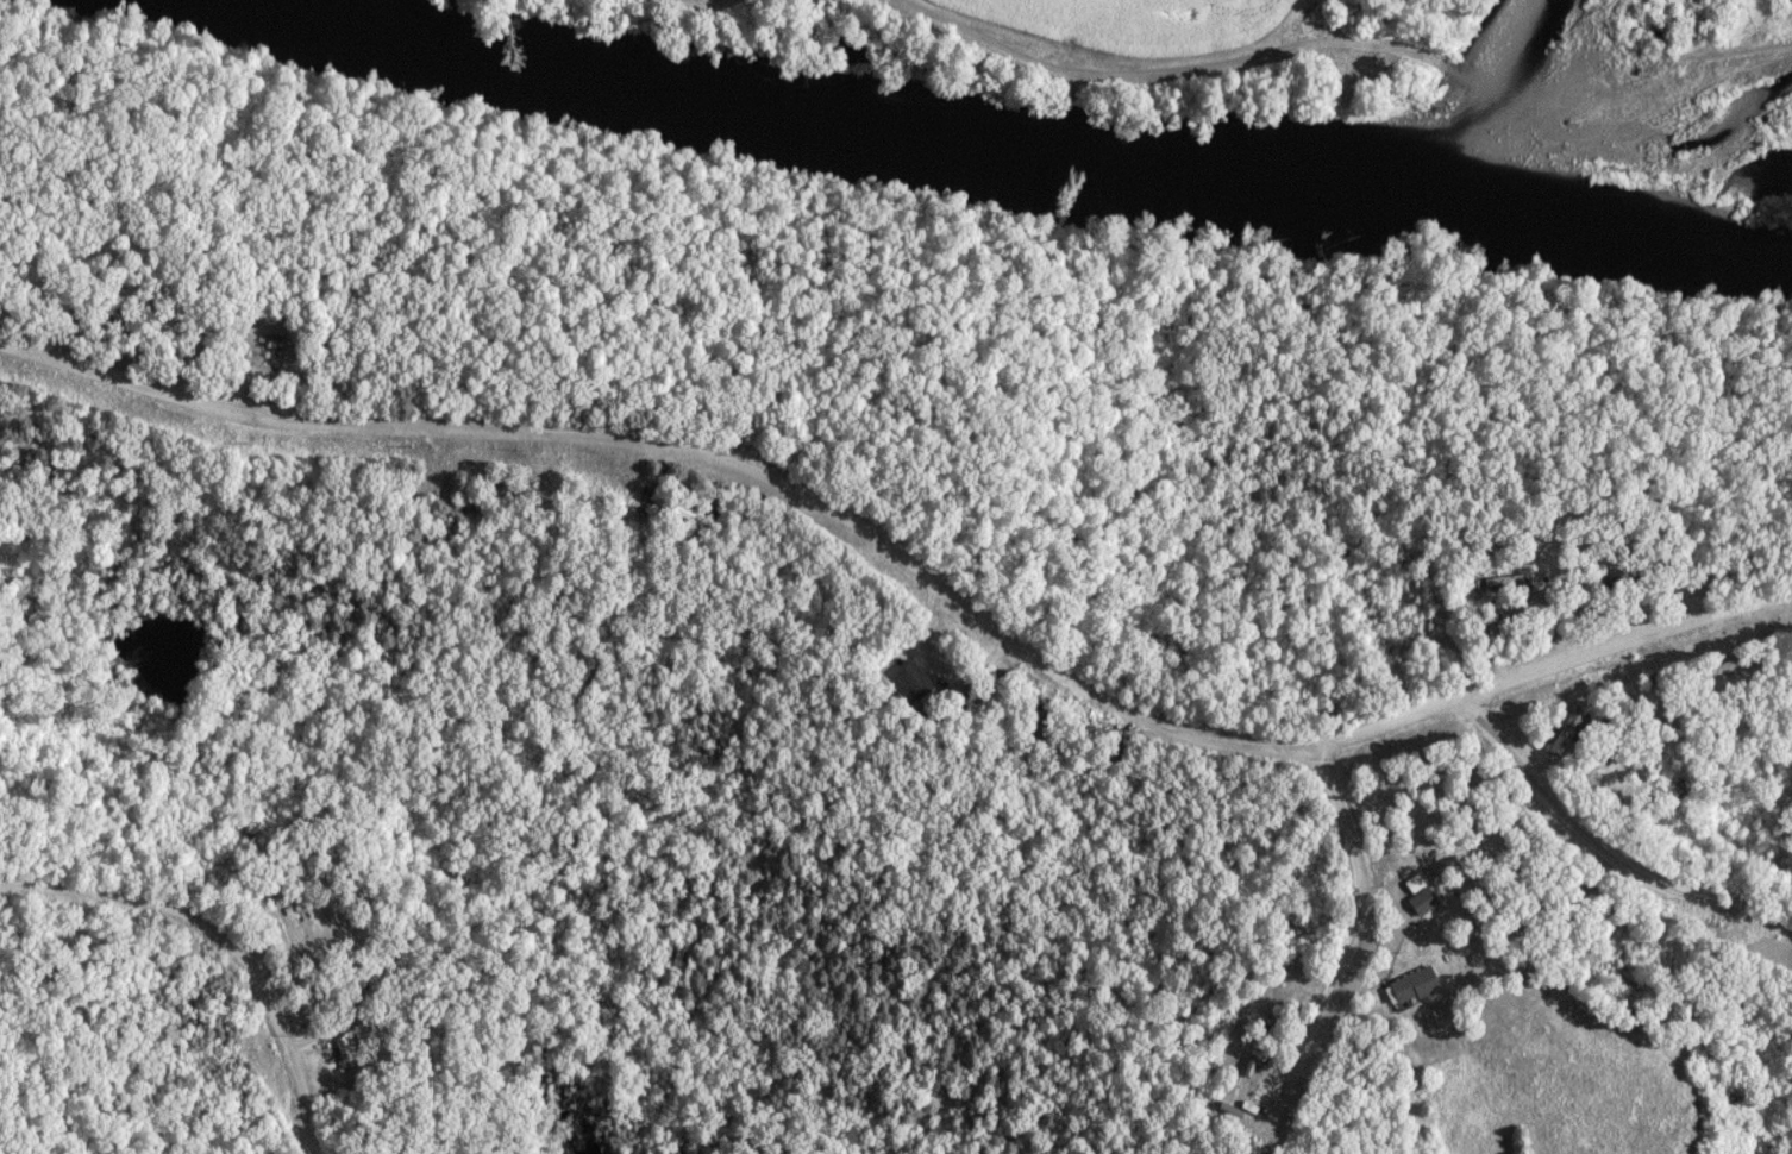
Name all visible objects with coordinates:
road: (1163, 75)
river: (1035, 151)
building: (267, 355)
building: (507, 490)
road: (913, 565)
building: (1722, 670)
building: (916, 682)
road: (1604, 849)
building: (1423, 896)
road: (221, 940)
road: (1339, 955)
building: (1416, 986)
building: (1274, 1036)
building: (1260, 1068)

